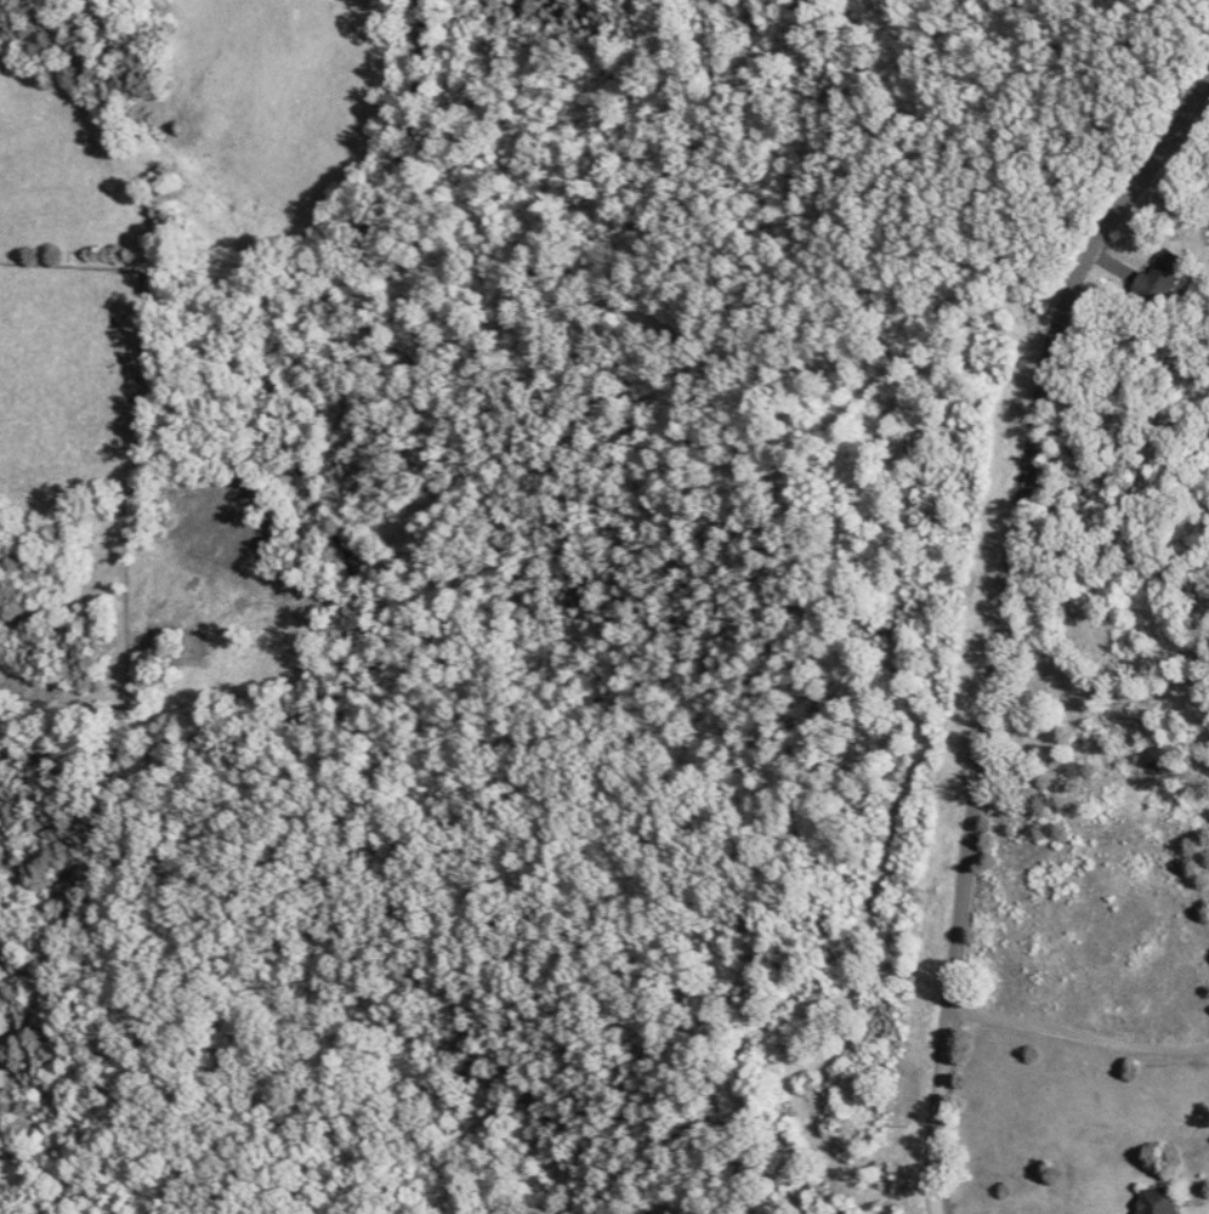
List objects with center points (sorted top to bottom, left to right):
building: (1167, 276)
road: (991, 606)
road: (1079, 1037)
building: (1163, 1201)

